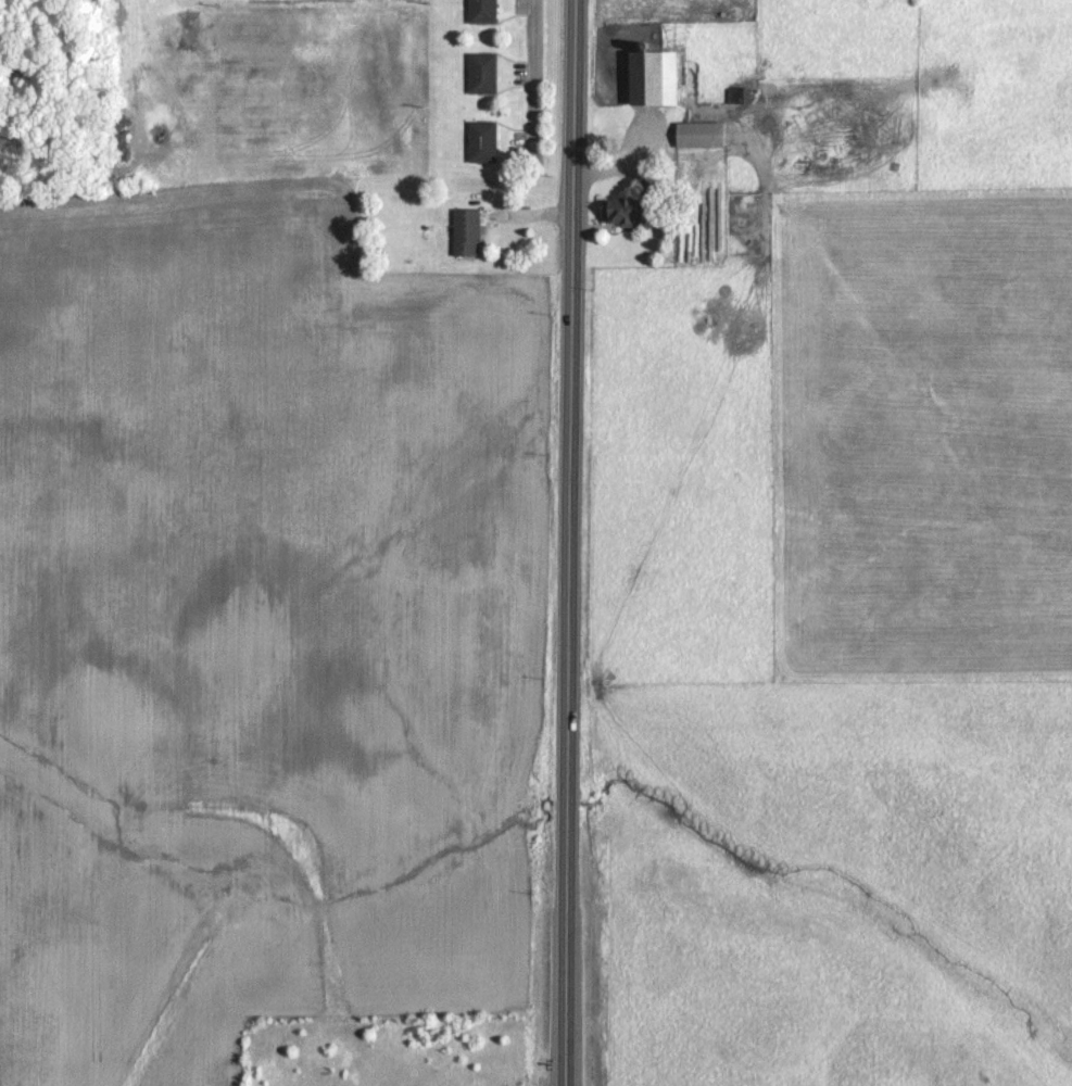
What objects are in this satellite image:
building: (480, 11)
building: (480, 73)
building: (649, 77)
road: (534, 84)
building: (737, 94)
building: (696, 134)
building: (480, 141)
road: (620, 166)
building: (619, 211)
building: (464, 232)
road: (570, 507)
road: (565, 1050)

